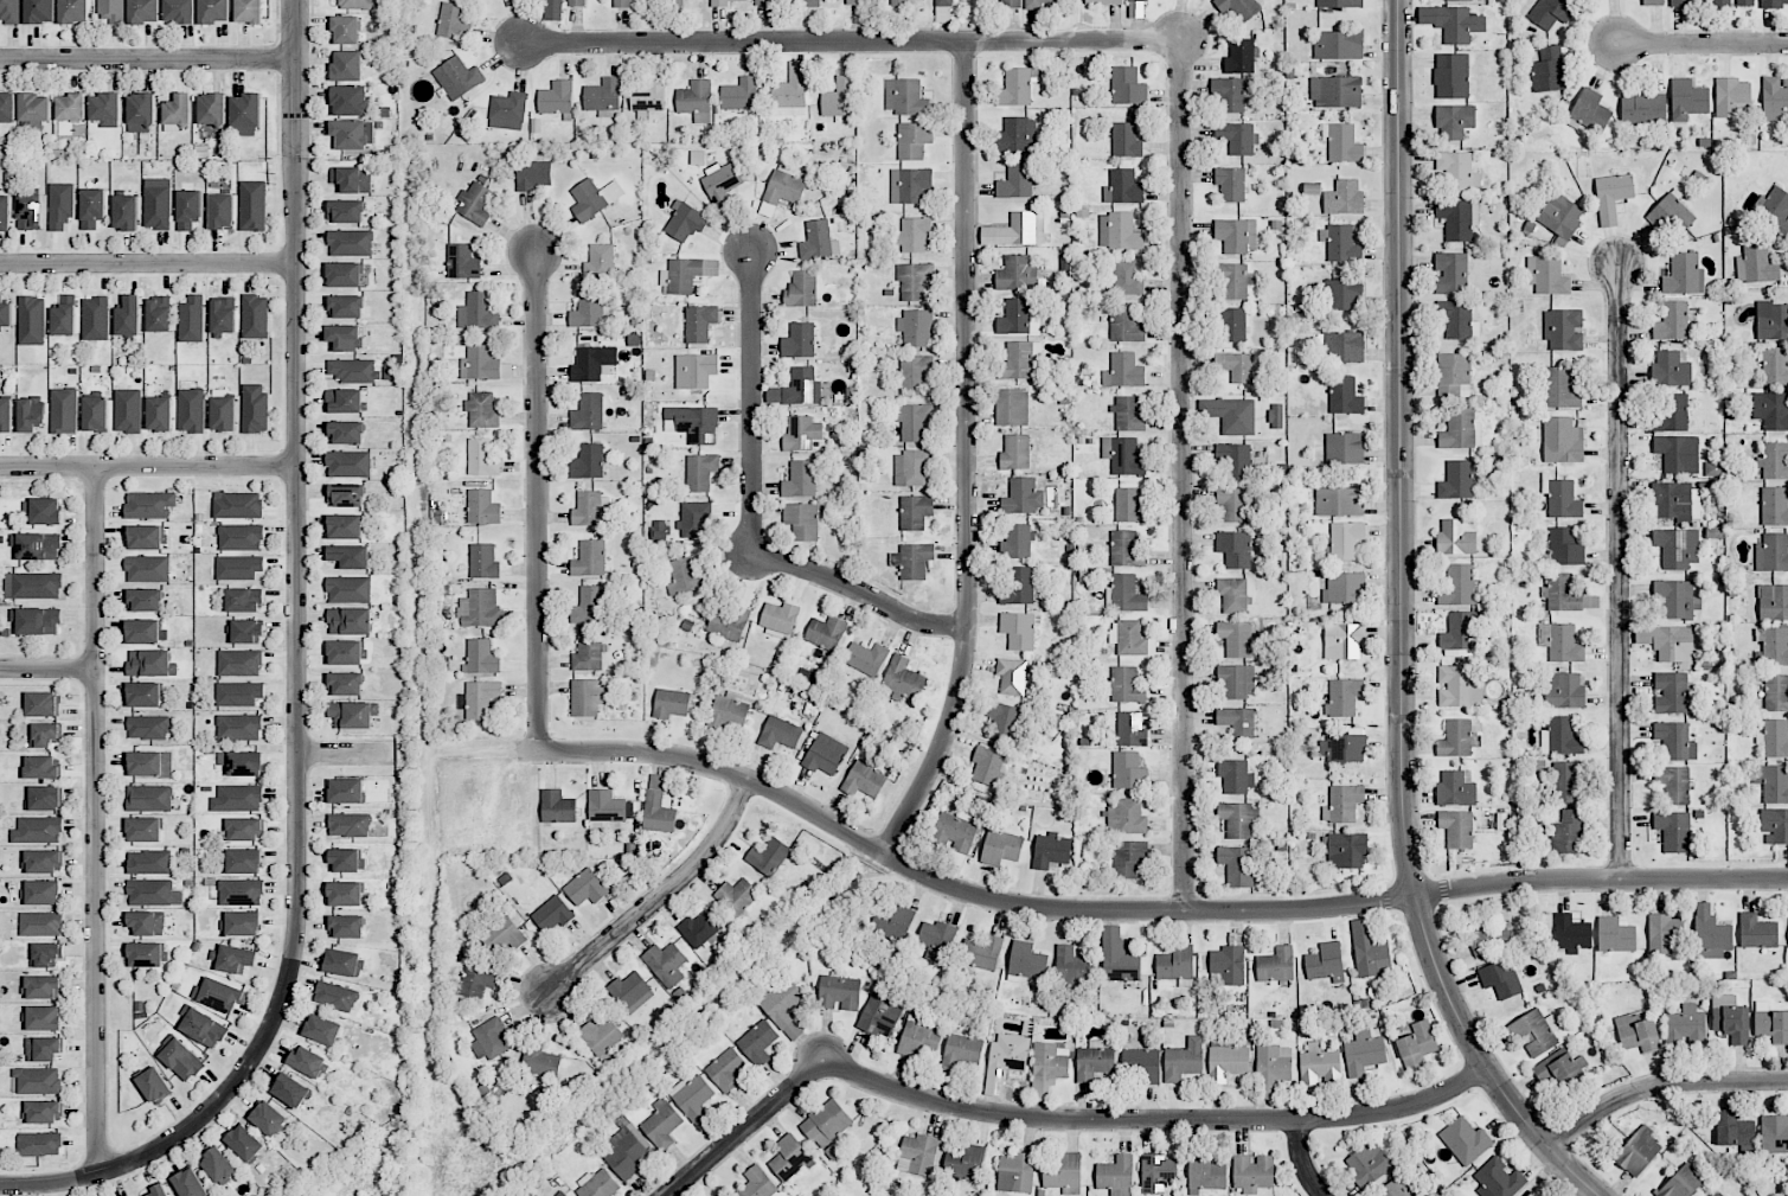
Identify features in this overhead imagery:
building: (923, 0)
building: (1136, 0)
building: (1457, 0)
building: (674, 1)
building: (773, 1)
building: (855, 1)
building: (1103, 1)
building: (576, 2)
building: (722, 2)
building: (809, 2)
building: (898, 2)
building: (943, 2)
building: (1043, 2)
building: (1653, 2)
building: (1687, 2)
building: (1733, 2)
building: (1774, 2)
building: (355, 4)
building: (622, 4)
building: (1011, 4)
building: (1338, 4)
building: (1238, 8)
building: (552, 9)
building: (9, 11)
building: (39, 11)
building: (143, 11)
building: (179, 11)
building: (213, 11)
building: (248, 11)
building: (73, 12)
building: (110, 12)
building: (1551, 12)
building: (454, 21)
building: (1453, 23)
building: (345, 30)
road: (847, 41)
road: (1702, 41)
building: (1338, 45)
building: (1241, 57)
road: (148, 59)
building: (346, 65)
building: (1549, 70)
street lamp: (1619, 75)
building: (1451, 76)
building: (457, 77)
building: (1127, 85)
building: (1017, 87)
building: (790, 91)
building: (1334, 91)
building: (1230, 94)
building: (603, 95)
building: (739, 95)
building: (556, 97)
building: (647, 97)
building: (905, 97)
building: (1732, 97)
building: (839, 98)
building: (1775, 98)
building: (696, 100)
building: (1687, 100)
building: (350, 101)
building: (7, 107)
building: (34, 107)
building: (70, 108)
building: (212, 108)
building: (105, 109)
building: (1643, 109)
building: (507, 110)
building: (1588, 110)
building: (141, 111)
building: (177, 111)
building: (245, 115)
building: (1455, 121)
building: (31, 126)
building: (352, 134)
building: (1017, 135)
building: (1237, 137)
building: (914, 140)
building: (1126, 140)
building: (1342, 142)
building: (1457, 171)
building: (532, 174)
building: (352, 179)
building: (1018, 179)
building: (722, 184)
building: (1230, 184)
building: (784, 185)
building: (910, 185)
building: (1123, 187)
building: (1611, 196)
building: (594, 198)
building: (1344, 198)
street lamp: (1416, 199)
building: (156, 203)
building: (475, 203)
building: (60, 205)
building: (252, 205)
building: (92, 207)
building: (188, 209)
building: (30, 211)
building: (222, 211)
building: (345, 211)
building: (5, 212)
building: (126, 212)
building: (1774, 212)
building: (1671, 215)
building: (1561, 217)
building: (1457, 218)
building: (686, 222)
building: (1017, 230)
building: (1120, 231)
street lamp: (1601, 234)
building: (914, 235)
building: (1236, 235)
building: (819, 241)
building: (1338, 242)
building: (350, 243)
building: (463, 262)
building: (600, 262)
road: (148, 264)
building: (1756, 266)
building: (1450, 273)
building: (344, 274)
building: (1017, 274)
building: (681, 275)
building: (1547, 275)
building: (1684, 275)
building: (1127, 277)
building: (914, 280)
building: (1232, 281)
building: (802, 289)
building: (1342, 294)
building: (345, 306)
building: (588, 309)
building: (478, 312)
building: (5, 313)
building: (159, 314)
building: (223, 314)
building: (64, 316)
building: (128, 316)
building: (255, 316)
building: (1014, 316)
building: (95, 318)
building: (31, 320)
building: (192, 320)
building: (1459, 320)
building: (1773, 320)
building: (699, 322)
building: (1671, 322)
building: (1126, 324)
building: (1233, 324)
building: (916, 327)
building: (1564, 330)
building: (344, 337)
building: (799, 340)
building: (1344, 347)
building: (1017, 360)
building: (478, 363)
building: (592, 363)
building: (1235, 366)
building: (1775, 366)
building: (1671, 369)
building: (354, 370)
building: (698, 370)
building: (1123, 371)
building: (390, 372)
building: (915, 372)
building: (1453, 376)
building: (802, 386)
building: (1559, 388)
building: (1345, 396)
building: (344, 401)
building: (1012, 407)
building: (255, 408)
building: (64, 410)
building: (128, 410)
building: (191, 410)
building: (481, 410)
building: (1771, 410)
building: (223, 411)
building: (588, 412)
building: (1671, 412)
building: (31, 414)
building: (96, 414)
building: (159, 414)
building: (1128, 414)
building: (6, 415)
building: (1231, 415)
building: (1276, 416)
building: (914, 421)
building: (693, 423)
building: (1461, 429)
building: (345, 433)
building: (800, 433)
building: (1562, 440)
building: (1345, 448)
building: (1015, 452)
building: (1678, 453)
building: (1123, 455)
road: (968, 456)
building: (481, 458)
building: (588, 461)
building: (1233, 461)
building: (1774, 461)
building: (348, 463)
road: (148, 467)
building: (912, 467)
building: (701, 471)
road: (1183, 475)
building: (800, 480)
building: (1456, 480)
building: (346, 494)
building: (1021, 497)
building: (1563, 499)
street lamp: (1418, 500)
road: (537, 501)
building: (1339, 501)
building: (1675, 501)
building: (1232, 504)
building: (149, 505)
building: (237, 505)
building: (1128, 505)
building: (1775, 506)
building: (482, 507)
building: (590, 509)
building: (44, 511)
building: (915, 511)
road: (751, 516)
building: (694, 518)
building: (801, 520)
building: (345, 526)
building: (659, 527)
building: (148, 537)
building: (241, 537)
building: (1455, 538)
building: (1346, 539)
building: (1017, 542)
building: (36, 545)
building: (1565, 546)
building: (1677, 548)
building: (1126, 549)
building: (1233, 549)
building: (1773, 552)
building: (348, 556)
building: (589, 558)
building: (483, 561)
building: (912, 561)
building: (238, 567)
building: (147, 569)
road: (1617, 570)
building: (686, 576)
building: (33, 586)
building: (1018, 587)
building: (1460, 587)
building: (1345, 588)
building: (348, 589)
building: (1561, 593)
building: (1124, 594)
road: (1399, 594)
building: (1232, 595)
building: (1677, 599)
building: (145, 600)
building: (243, 600)
building: (1774, 602)
building: (590, 606)
building: (479, 608)
building: (37, 621)
building: (350, 621)
building: (728, 621)
building: (778, 621)
building: (143, 632)
building: (246, 632)
building: (1459, 632)
building: (826, 633)
building: (1236, 638)
building: (1130, 639)
building: (1342, 641)
building: (1670, 642)
building: (1564, 644)
building: (1775, 646)
building: (344, 652)
building: (588, 653)
building: (481, 658)
building: (865, 658)
building: (150, 663)
building: (239, 663)
road: (47, 669)
building: (1011, 676)
building: (903, 678)
road: (296, 682)
building: (1237, 682)
building: (344, 683)
building: (1459, 685)
building: (1126, 686)
building: (1564, 691)
building: (1670, 692)
building: (1776, 692)
building: (143, 693)
building: (238, 693)
building: (587, 697)
building: (1342, 697)
building: (481, 698)
building: (672, 703)
building: (41, 704)
building: (728, 711)
building: (353, 714)
building: (1002, 722)
building: (1236, 722)
building: (147, 727)
building: (239, 727)
building: (1130, 729)
building: (780, 733)
building: (45, 734)
building: (1561, 737)
building: (1455, 738)
building: (1674, 741)
building: (1347, 748)
road: (346, 754)
building: (825, 754)
building: (241, 762)
building: (150, 763)
building: (988, 766)
building: (40, 767)
building: (1128, 770)
building: (1235, 776)
building: (864, 780)
building: (1565, 782)
building: (1773, 782)
building: (1673, 784)
building: (1456, 788)
building: (346, 791)
building: (44, 798)
building: (149, 798)
building: (237, 798)
building: (1342, 804)
building: (658, 806)
building: (557, 807)
building: (604, 807)
building: (1127, 817)
road: (96, 819)
building: (1239, 819)
building: (350, 825)
building: (1775, 825)
building: (1456, 827)
building: (245, 829)
building: (38, 830)
building: (143, 830)
building: (1674, 831)
building: (955, 832)
building: (1569, 832)
building: (1001, 846)
building: (1051, 850)
building: (1346, 850)
building: (767, 856)
building: (1128, 858)
building: (346, 859)
building: (243, 861)
building: (43, 862)
building: (149, 862)
building: (1237, 865)
street lamp: (1639, 865)
street lamp: (1388, 878)
building: (585, 888)
building: (241, 891)
building: (41, 893)
building: (153, 893)
building: (345, 894)
building: (736, 896)
road: (658, 898)
road: (1147, 912)
building: (552, 914)
building: (147, 922)
building: (241, 922)
building: (892, 922)
building: (40, 923)
building: (346, 926)
building: (700, 929)
building: (1757, 932)
building: (1571, 934)
building: (1664, 934)
building: (1710, 934)
building: (1487, 935)
building: (1615, 935)
building: (502, 936)
building: (937, 940)
building: (1370, 951)
building: (981, 953)
building: (46, 954)
building: (145, 954)
building: (1117, 957)
building: (232, 958)
building: (1026, 960)
building: (342, 962)
building: (1326, 962)
building: (665, 964)
building: (1229, 964)
building: (1175, 965)
building: (1276, 965)
building: (1072, 966)
building: (1501, 978)
building: (478, 979)
building: (43, 987)
building: (628, 990)
building: (839, 993)
building: (219, 994)
building: (335, 996)
building: (784, 1008)
building: (880, 1016)
building: (44, 1018)
building: (1730, 1018)
building: (1771, 1023)
building: (1685, 1025)
building: (201, 1026)
building: (322, 1029)
building: (1536, 1032)
building: (1636, 1032)
building: (601, 1035)
building: (918, 1037)
building: (489, 1040)
building: (757, 1042)
building: (1417, 1044)
building: (43, 1049)
building: (962, 1050)
building: (1008, 1051)
building: (1364, 1053)
building: (180, 1057)
building: (1184, 1060)
building: (307, 1061)
building: (541, 1061)
building: (1050, 1061)
building: (1094, 1061)
building: (1226, 1061)
building: (1141, 1064)
building: (1273, 1066)
building: (1319, 1066)
building: (726, 1069)
building: (1561, 1070)
building: (36, 1081)
road: (1658, 1082)
building: (154, 1085)
building: (290, 1091)
street lamp: (1478, 1092)
building: (692, 1096)
building: (43, 1111)
building: (268, 1118)
road: (1156, 1119)
building: (826, 1123)
building: (661, 1124)
road: (745, 1128)
building: (1735, 1130)
building: (1774, 1134)
building: (1465, 1140)
building: (244, 1143)
building: (39, 1144)
street lamp: (1578, 1146)
building: (1638, 1151)
building: (622, 1155)
building: (917, 1155)
road: (1303, 1160)
building: (965, 1162)
building: (1369, 1164)
building: (218, 1166)
building: (1015, 1172)
building: (1156, 1172)
building: (1252, 1172)
road: (1574, 1172)
building: (1064, 1173)
building: (1205, 1173)
building: (1116, 1176)
building: (1499, 1179)
building: (1681, 1182)
building: (188, 1183)
building: (757, 1183)
building: (598, 1184)
building: (1392, 1189)
building: (156, 1191)
building: (560, 1194)
building: (1717, 1194)
building: (720, 1195)

